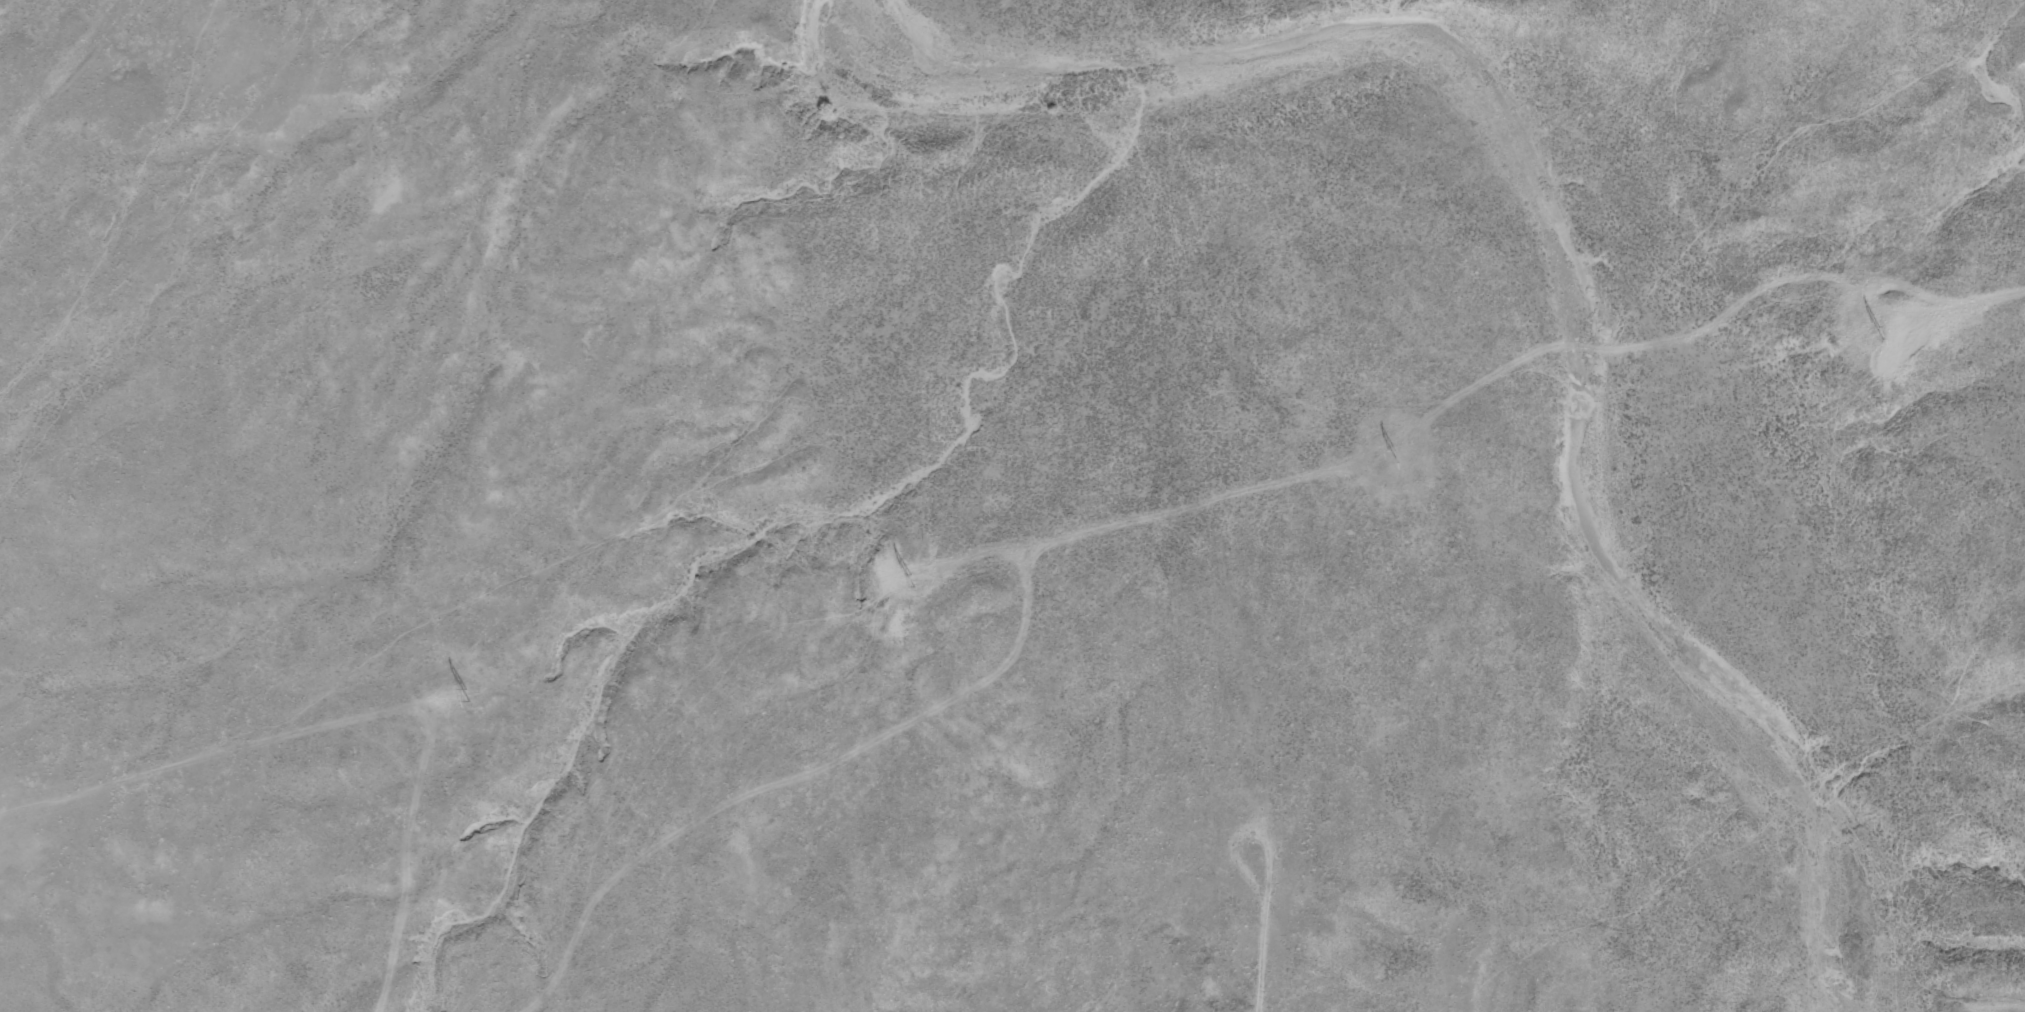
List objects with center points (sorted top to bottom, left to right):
power tower: (1880, 333)
power tower: (1399, 455)
power tower: (914, 581)
power tower: (471, 693)

